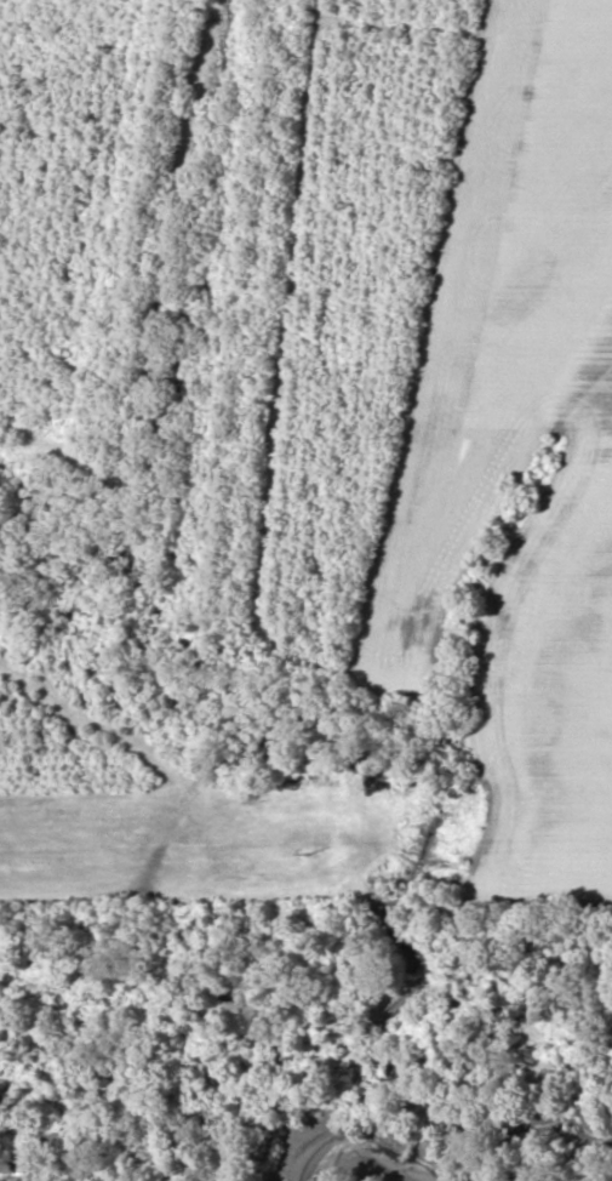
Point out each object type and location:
power tower: (320, 850)

